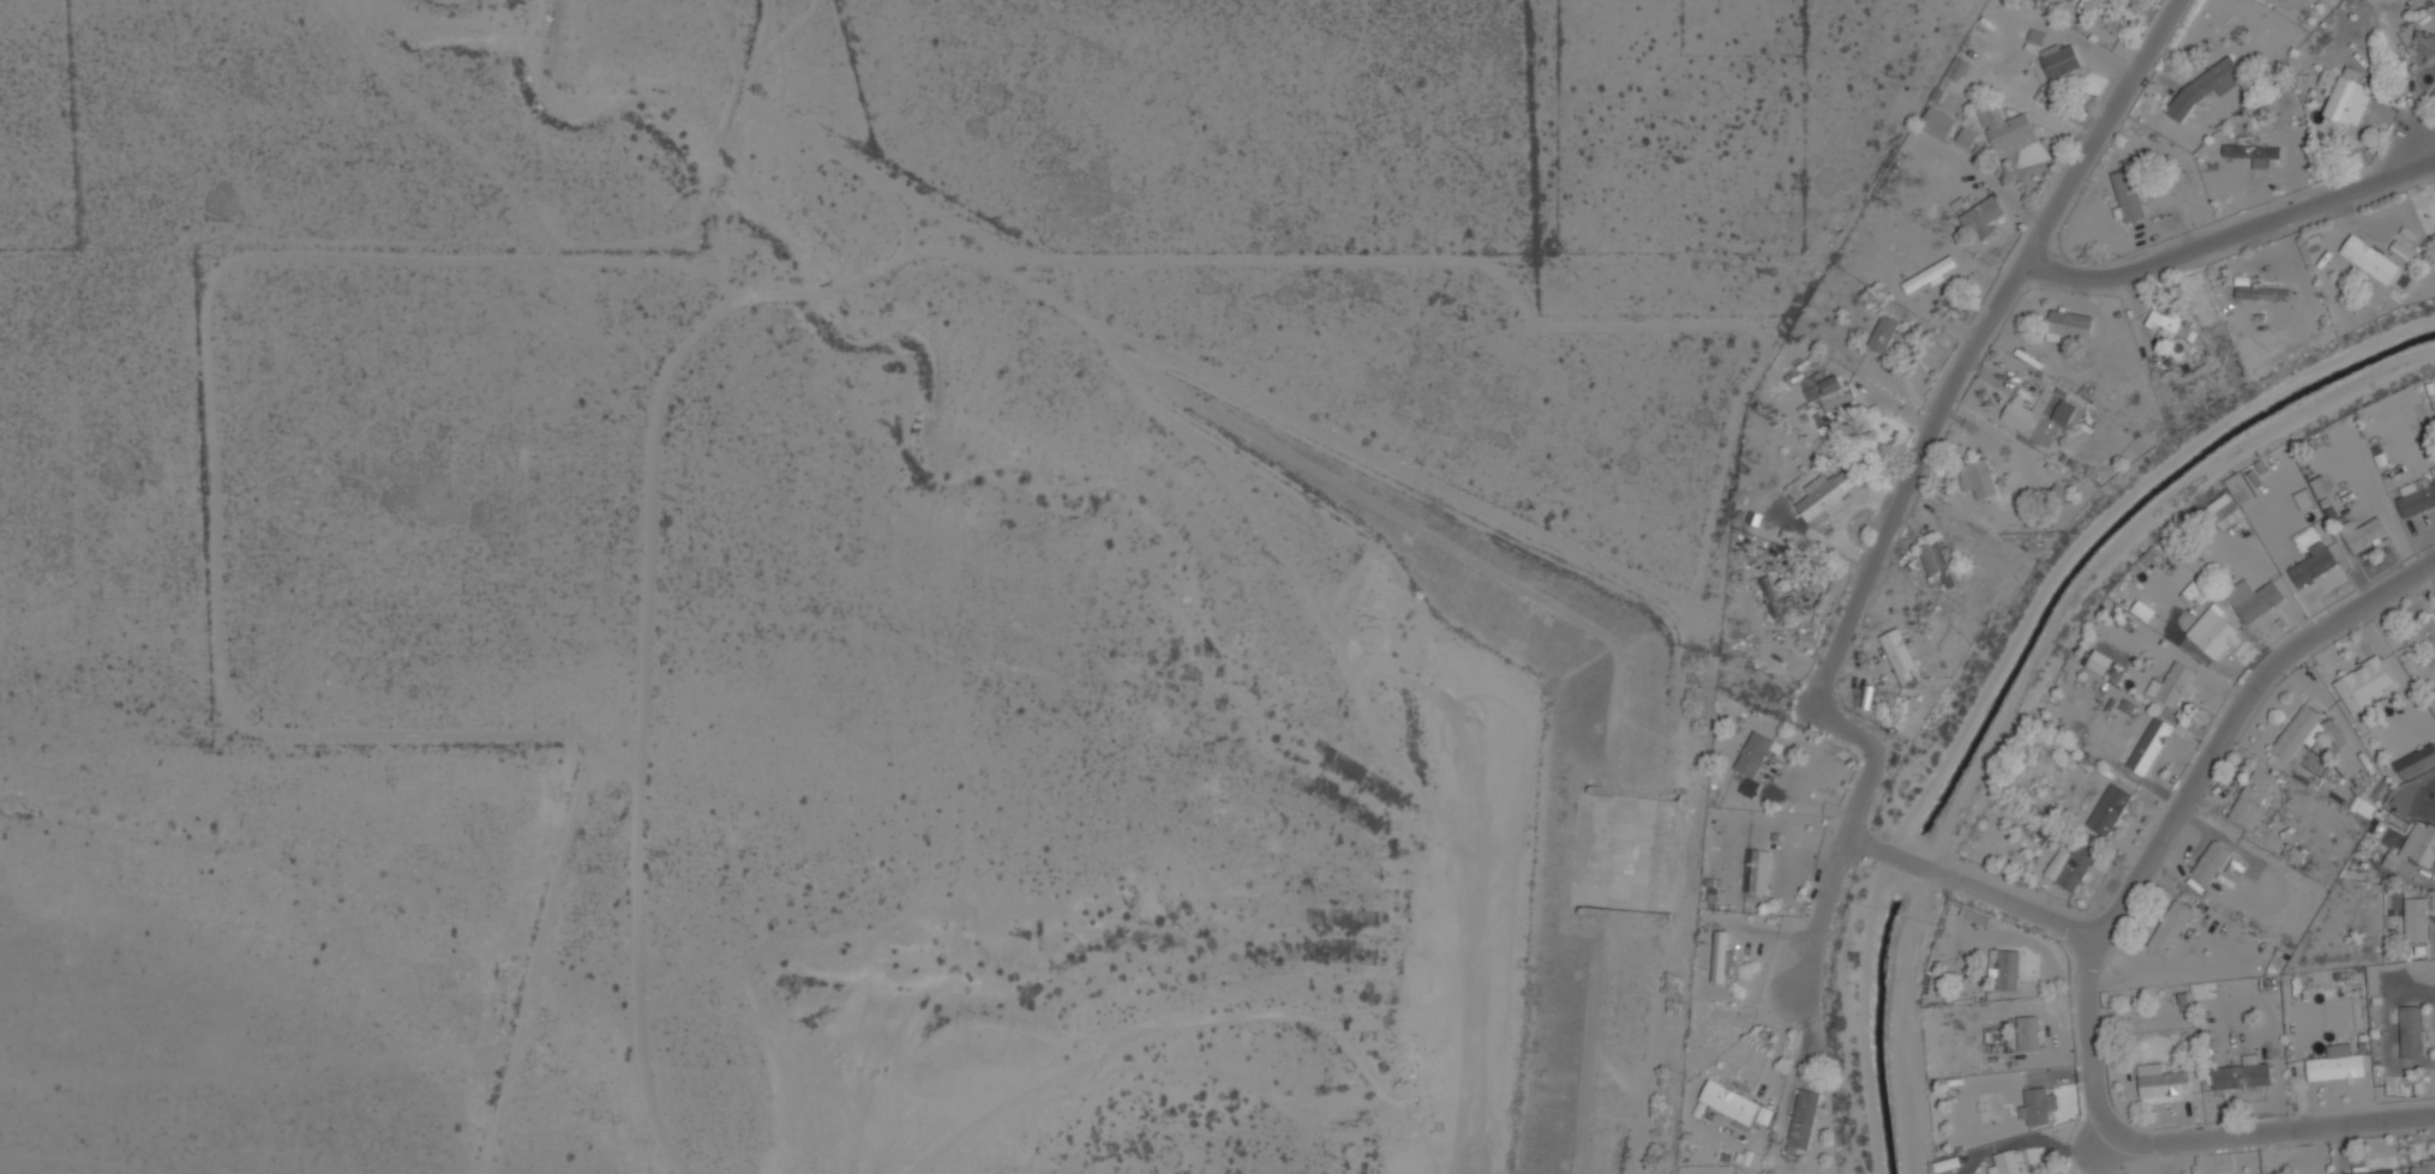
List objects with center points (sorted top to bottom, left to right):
building: (2089, 5)
building: (2434, 42)
building: (2059, 60)
building: (1957, 67)
building: (2203, 88)
building: (2344, 95)
building: (1937, 121)
building: (2007, 130)
building: (1966, 137)
building: (2253, 152)
building: (2128, 194)
building: (1981, 216)
road: (2235, 228)
building: (2401, 249)
building: (2370, 259)
building: (1931, 272)
building: (2262, 293)
building: (2070, 323)
building: (2170, 323)
building: (1883, 333)
road: (1969, 342)
building: (1835, 397)
building: (2040, 415)
building: (1979, 478)
building: (2320, 486)
building: (2239, 487)
building: (1825, 494)
building: (2417, 495)
building: (2303, 499)
building: (2221, 511)
building: (2361, 532)
building: (1937, 560)
building: (2314, 564)
building: (1776, 598)
building: (2254, 598)
building: (2212, 633)
building: (2422, 634)
dam: (1614, 638)
building: (1897, 649)
building: (2099, 661)
building: (2172, 684)
building: (2363, 685)
road: (2231, 716)
building: (2296, 733)
building: (2149, 746)
building: (1752, 753)
building: (2416, 761)
building: (1749, 787)
building: (2253, 799)
building: (2109, 809)
road: (1846, 835)
building: (2413, 850)
building: (2211, 861)
building: (2069, 866)
building: (1757, 871)
road: (1968, 886)
building: (2416, 919)
building: (2171, 928)
building: (1720, 956)
building: (2008, 969)
building: (2387, 1013)
building: (2411, 1031)
building: (2027, 1032)
building: (1745, 1054)
building: (2337, 1064)
building: (2242, 1073)
building: (2161, 1080)
building: (2392, 1086)
building: (1729, 1101)
building: (2037, 1104)
building: (1803, 1118)
road: (2159, 1142)
building: (1752, 1157)
building: (2007, 1162)
building: (2424, 1168)
building: (2369, 1170)

